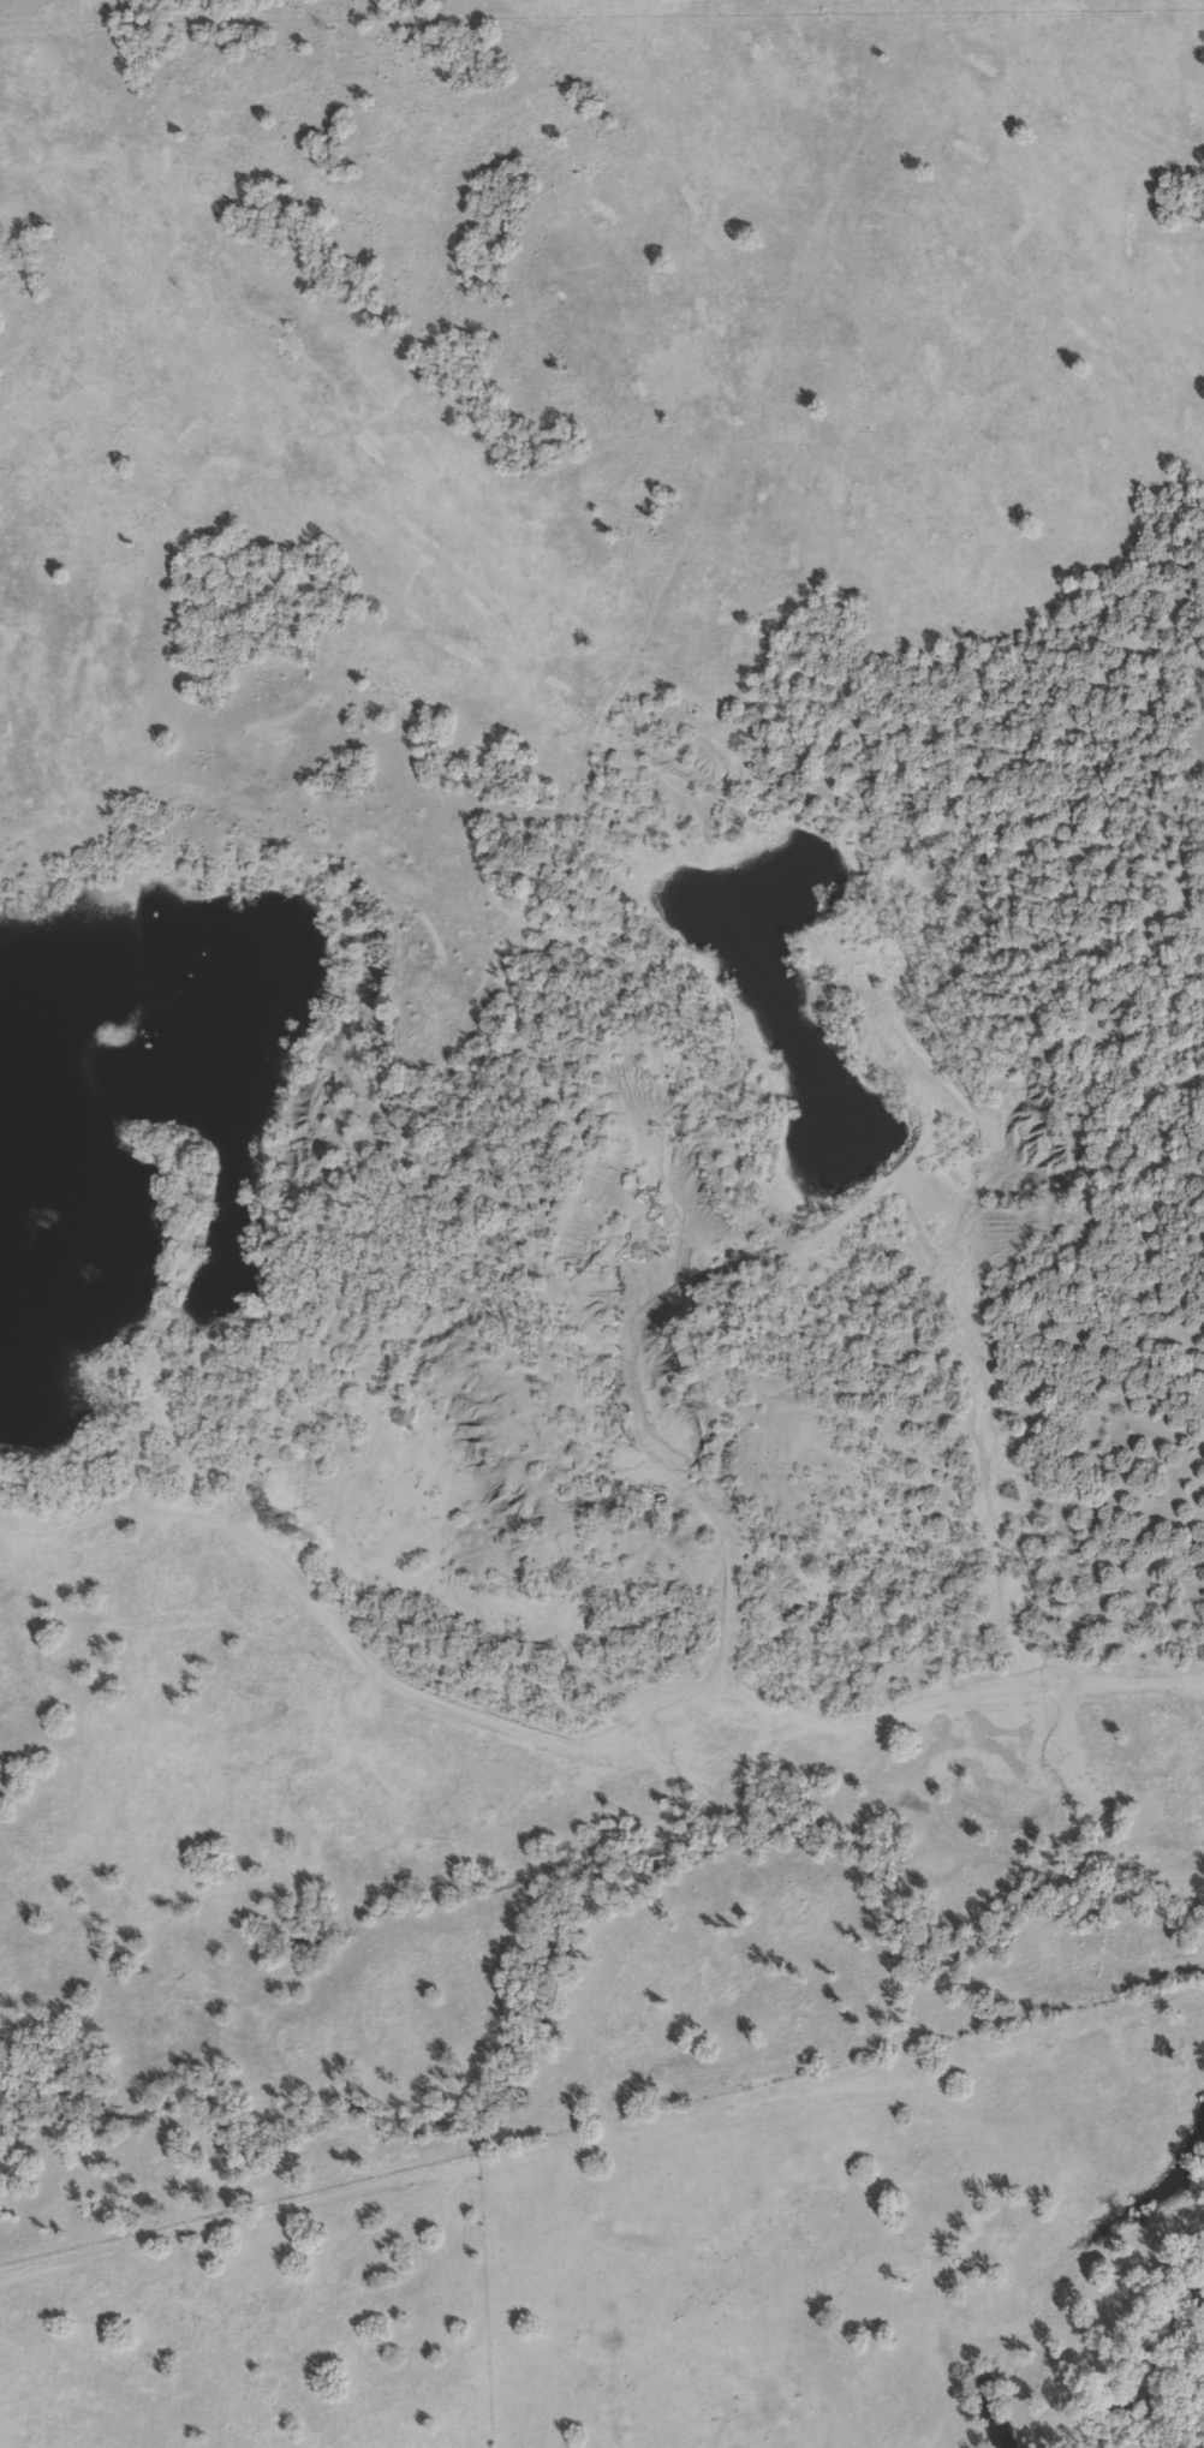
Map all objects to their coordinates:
road: (573, 1749)

